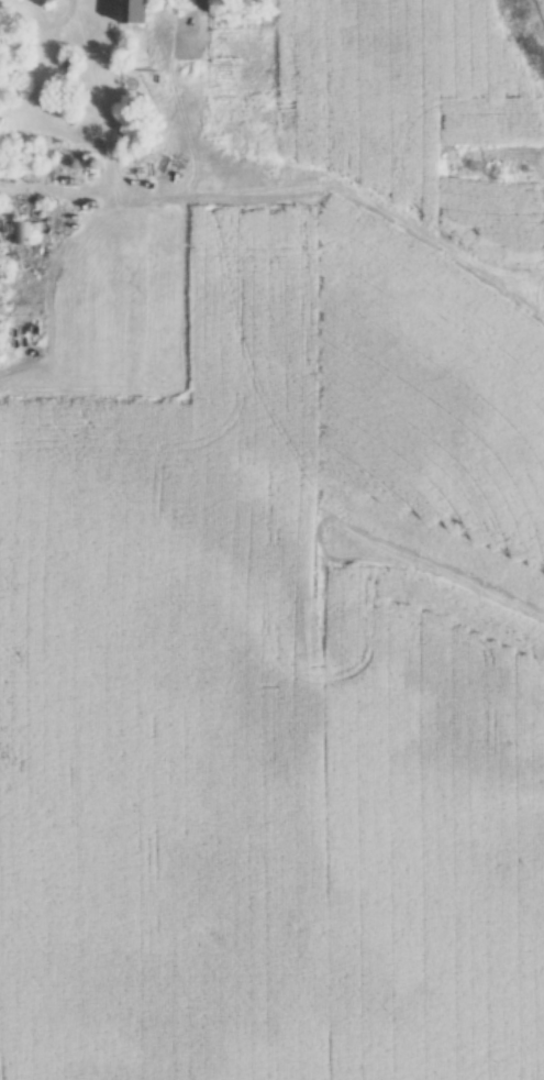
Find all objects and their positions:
building: (134, 12)
road: (52, 24)
building: (22, 233)

